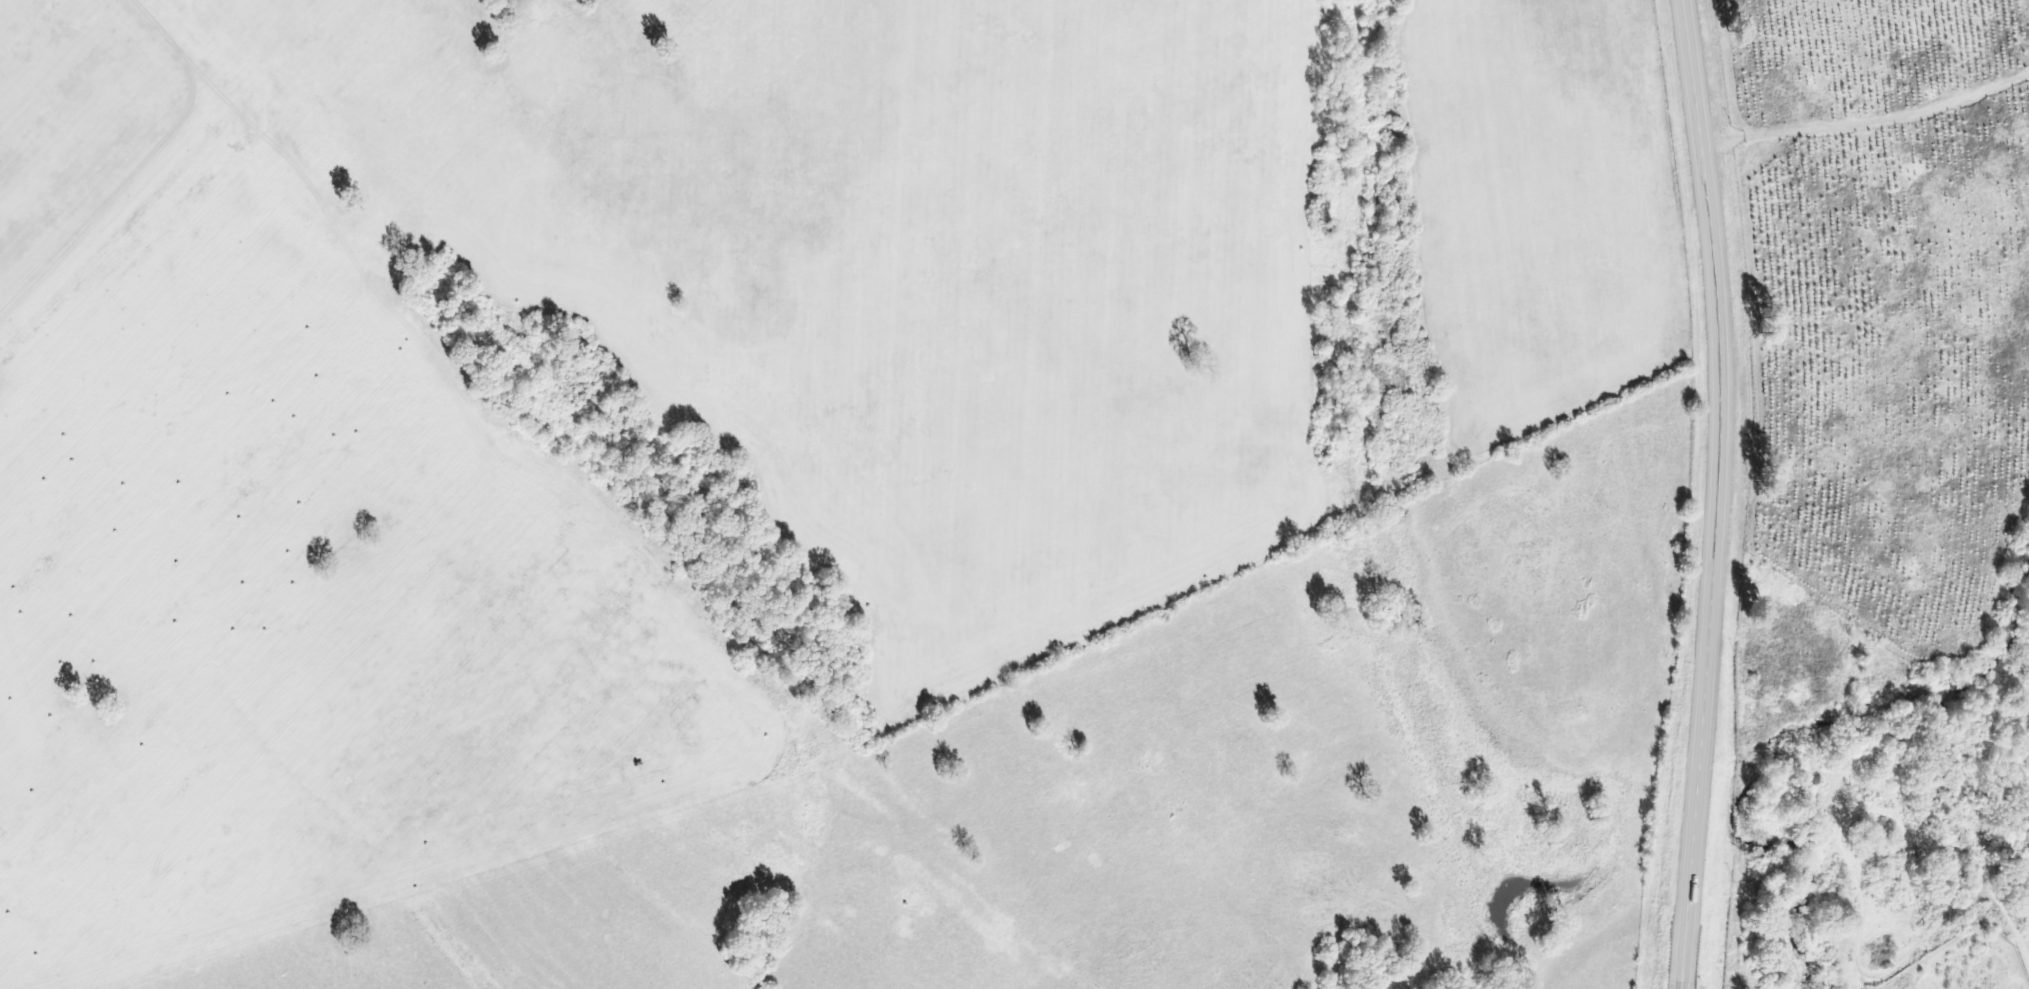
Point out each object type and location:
road: (1717, 494)

